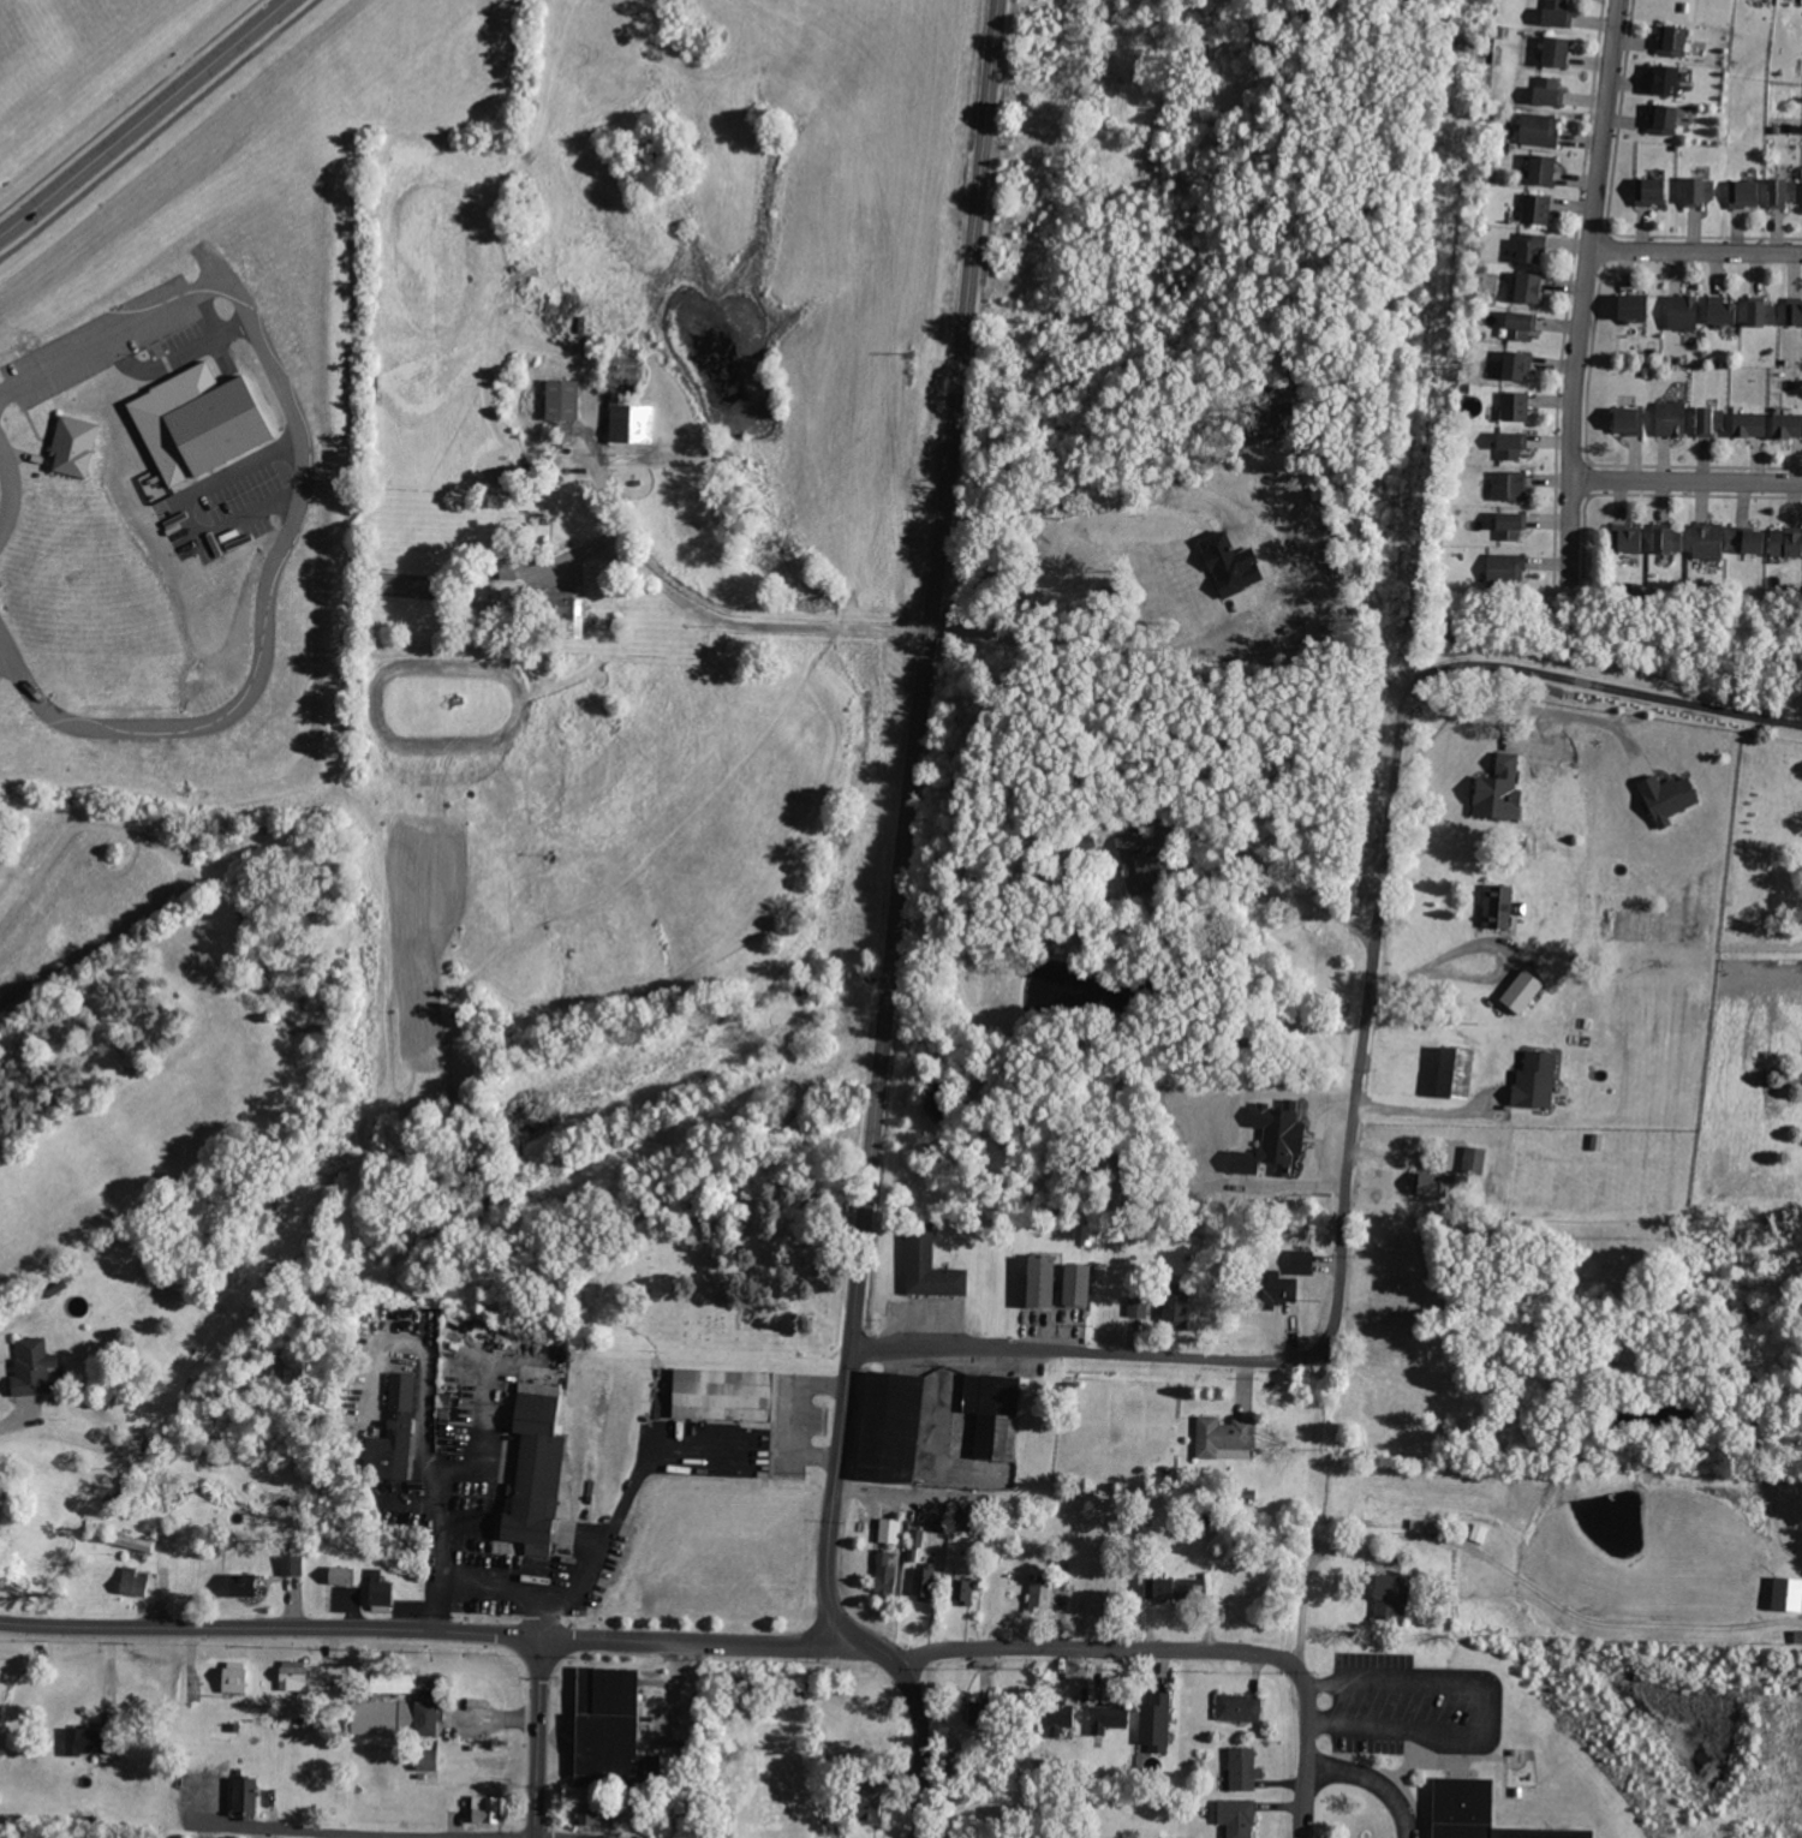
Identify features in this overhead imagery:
building: (1556, 12)
building: (1671, 40)
building: (1558, 52)
building: (96, 79)
building: (1667, 79)
building: (1549, 90)
road: (129, 106)
road: (144, 119)
building: (1666, 120)
road: (157, 130)
building: (1543, 132)
building: (1543, 168)
building: (1696, 192)
building: (1783, 192)
building: (1653, 195)
building: (1743, 195)
building: (1537, 208)
building: (1533, 247)
road: (1696, 250)
building: (1530, 288)
road: (1586, 296)
building: (1633, 306)
building: (1795, 309)
building: (1722, 310)
building: (1683, 311)
building: (1760, 312)
building: (1521, 323)
road: (112, 333)
building: (1516, 364)
building: (562, 398)
building: (1512, 405)
building: (1671, 418)
building: (1711, 420)
building: (632, 422)
building: (1630, 422)
building: (1750, 423)
building: (198, 425)
building: (1788, 425)
building: (1514, 443)
building: (76, 446)
road: (1687, 483)
building: (1512, 484)
road: (11, 490)
road: (185, 514)
building: (1511, 525)
building: (1629, 538)
building: (1665, 539)
building: (1748, 539)
building: (1706, 541)
building: (1786, 543)
building: (1230, 563)
building: (1506, 568)
building: (506, 599)
road: (267, 608)
building: (566, 608)
road: (738, 617)
road: (1091, 643)
road: (1601, 687)
road: (1533, 711)
building: (1499, 789)
building: (1667, 796)
road: (908, 846)
building: (1139, 861)
road: (1267, 870)
building: (1500, 908)
road: (1488, 942)
building: (1522, 995)
road: (1370, 1022)
building: (1458, 1073)
building: (1535, 1079)
road: (1432, 1110)
building: (1272, 1138)
building: (1474, 1159)
building: (1431, 1184)
building: (1301, 1258)
park: (714, 1260)
building: (931, 1267)
building: (1045, 1282)
building: (1080, 1283)
building: (1272, 1289)
building: (1177, 1306)
building: (1139, 1308)
road: (418, 1348)
road: (1091, 1355)
building: (37, 1367)
building: (727, 1395)
road: (792, 1416)
building: (1004, 1416)
road: (16, 1422)
building: (900, 1428)
building: (1228, 1438)
building: (395, 1448)
building: (535, 1461)
road: (436, 1496)
building: (966, 1520)
building: (891, 1530)
building: (130, 1540)
road: (604, 1540)
building: (918, 1542)
building: (292, 1565)
building: (888, 1573)
building: (339, 1574)
building: (136, 1582)
building: (925, 1582)
building: (245, 1585)
road: (483, 1585)
building: (1174, 1585)
road: (1307, 1588)
building: (381, 1589)
building: (965, 1592)
building: (1785, 1593)
building: (1394, 1594)
building: (1043, 1595)
road: (1565, 1610)
road: (350, 1627)
building: (1797, 1635)
road: (675, 1643)
road: (1097, 1652)
building: (293, 1676)
building: (237, 1677)
building: (396, 1682)
road: (1488, 1703)
building: (1240, 1706)
parking lot: (1413, 1706)
building: (984, 1711)
building: (1063, 1713)
building: (395, 1718)
road: (494, 1718)
building: (1112, 1718)
building: (1157, 1723)
building: (619, 1732)
building: (1552, 1738)
building: (91, 1743)
park: (1800, 1744)
road: (920, 1749)
road: (1307, 1754)
building: (960, 1761)
building: (428, 1762)
building: (1246, 1767)
road: (1396, 1777)
road: (1374, 1780)
building: (872, 1794)
building: (250, 1795)
building: (489, 1804)
building: (591, 1812)
building: (1241, 1815)
road: (399, 1833)
road: (508, 1836)
road: (554, 1837)

